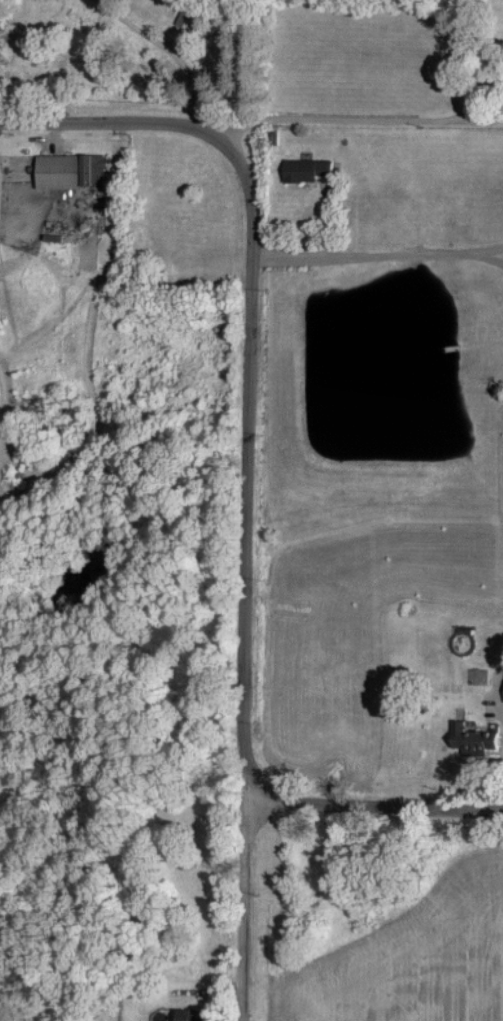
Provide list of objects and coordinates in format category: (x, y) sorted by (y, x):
building: (184, 20)
building: (302, 169)
building: (66, 170)
road: (244, 485)
building: (501, 687)
building: (468, 739)
road: (241, 910)
building: (197, 1014)

